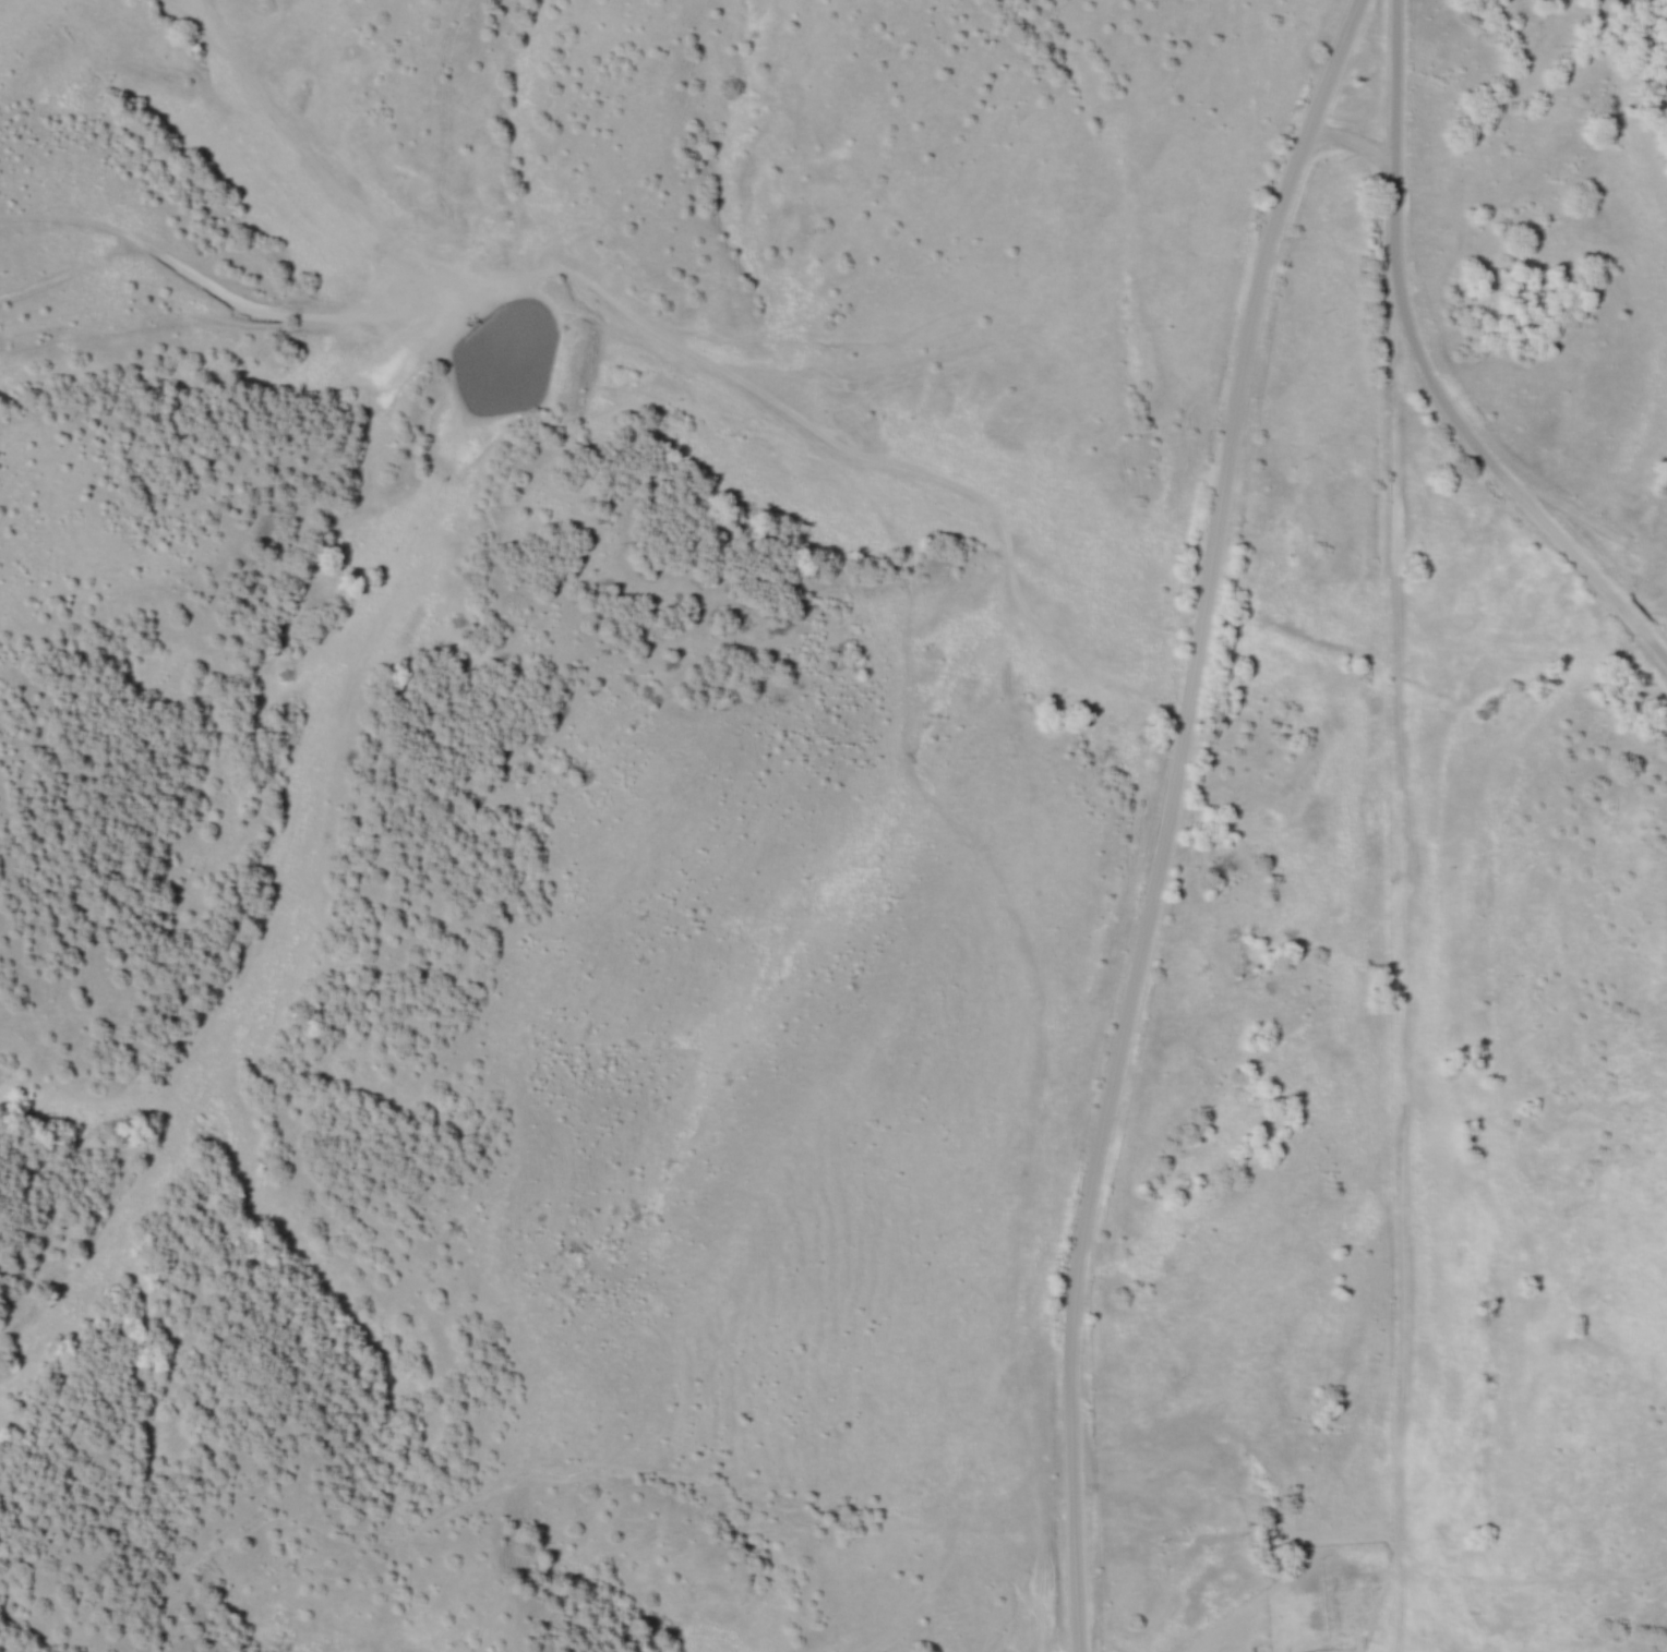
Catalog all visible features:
road: (1348, 138)
road: (648, 326)
road: (1427, 373)
road: (1166, 818)

